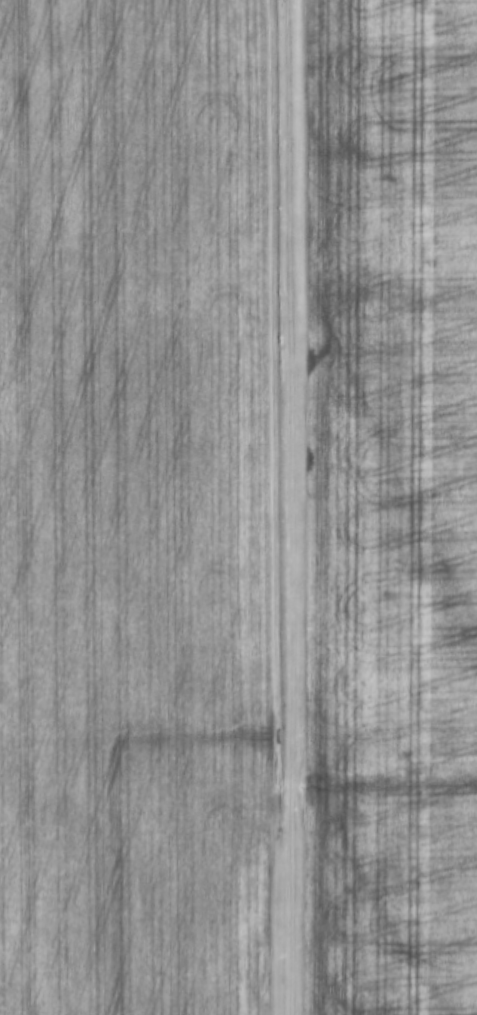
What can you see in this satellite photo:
crop: (394, 506)
road: (290, 507)
crop: (135, 509)

